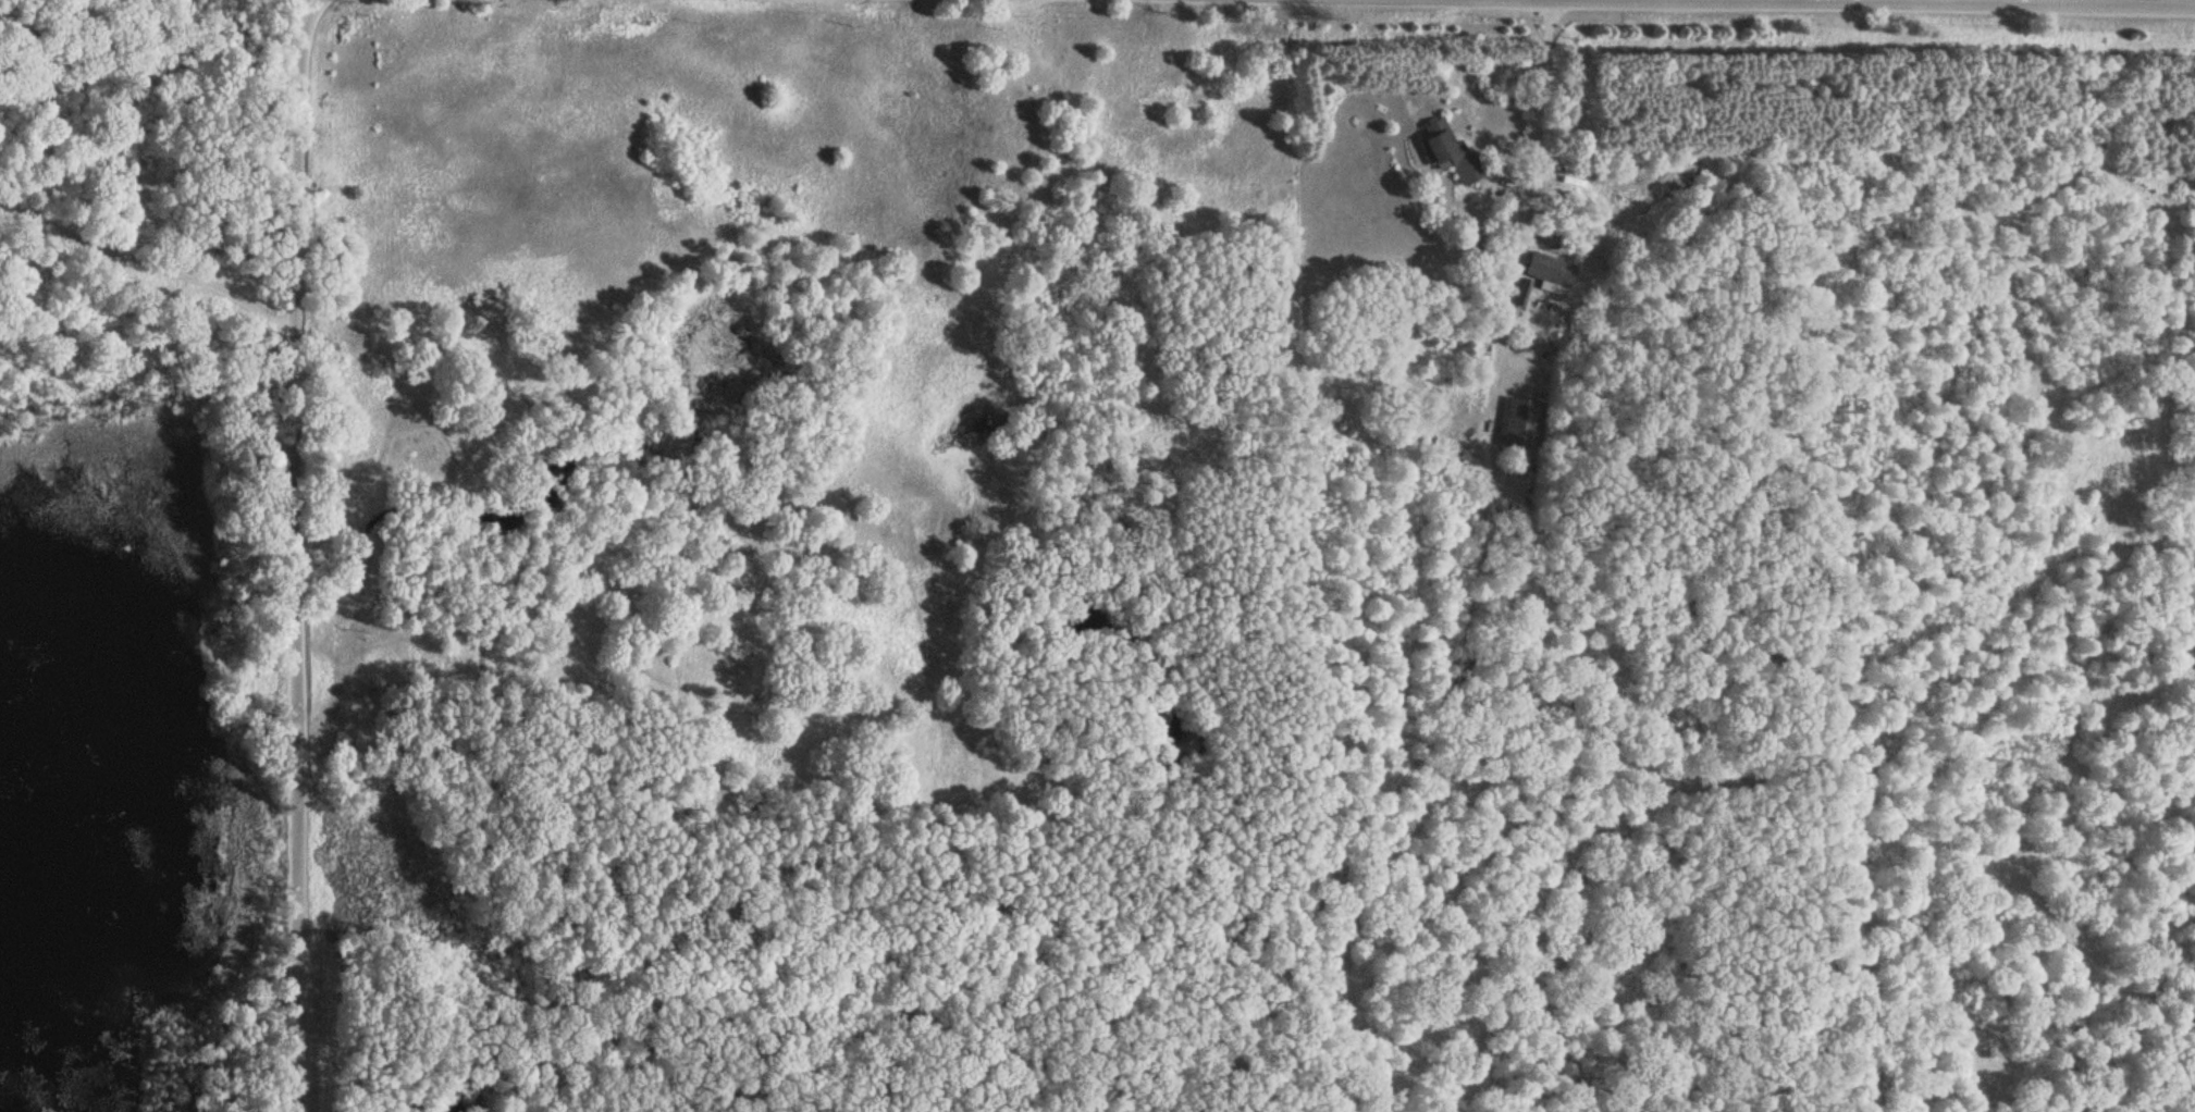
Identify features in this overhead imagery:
road: (2020, 2)
building: (1445, 149)
road: (1502, 187)
road: (1528, 190)
road: (151, 260)
building: (1547, 265)
building: (1519, 421)
road: (294, 554)

